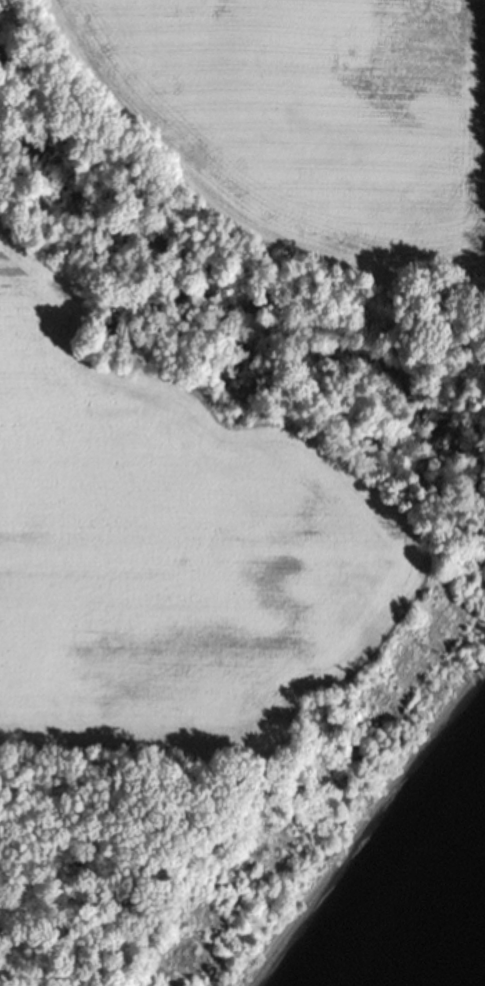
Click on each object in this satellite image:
road: (229, 207)
crop: (167, 548)

